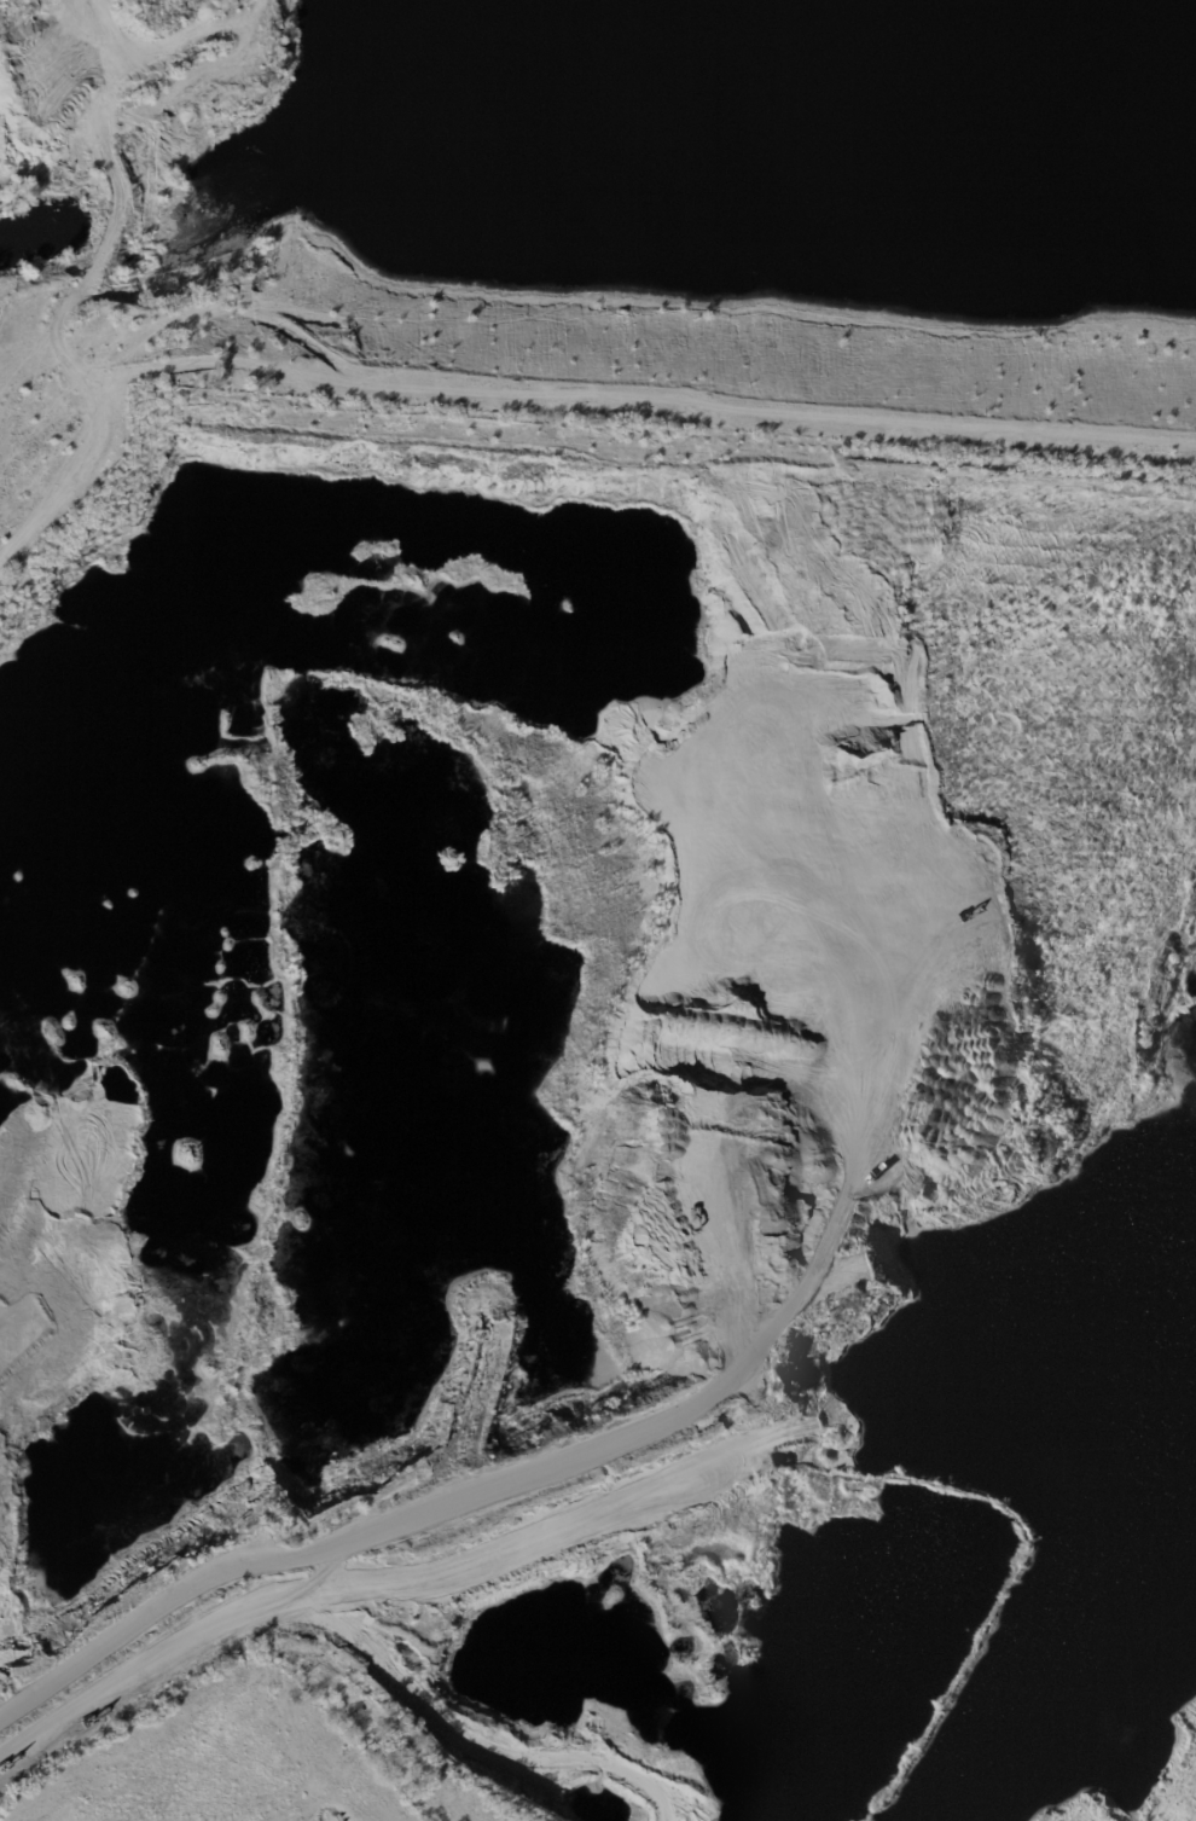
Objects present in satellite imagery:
quarry: (602, 211)
road: (545, 399)
road: (716, 920)
road: (201, 1211)
road: (344, 1544)
road: (179, 1651)

